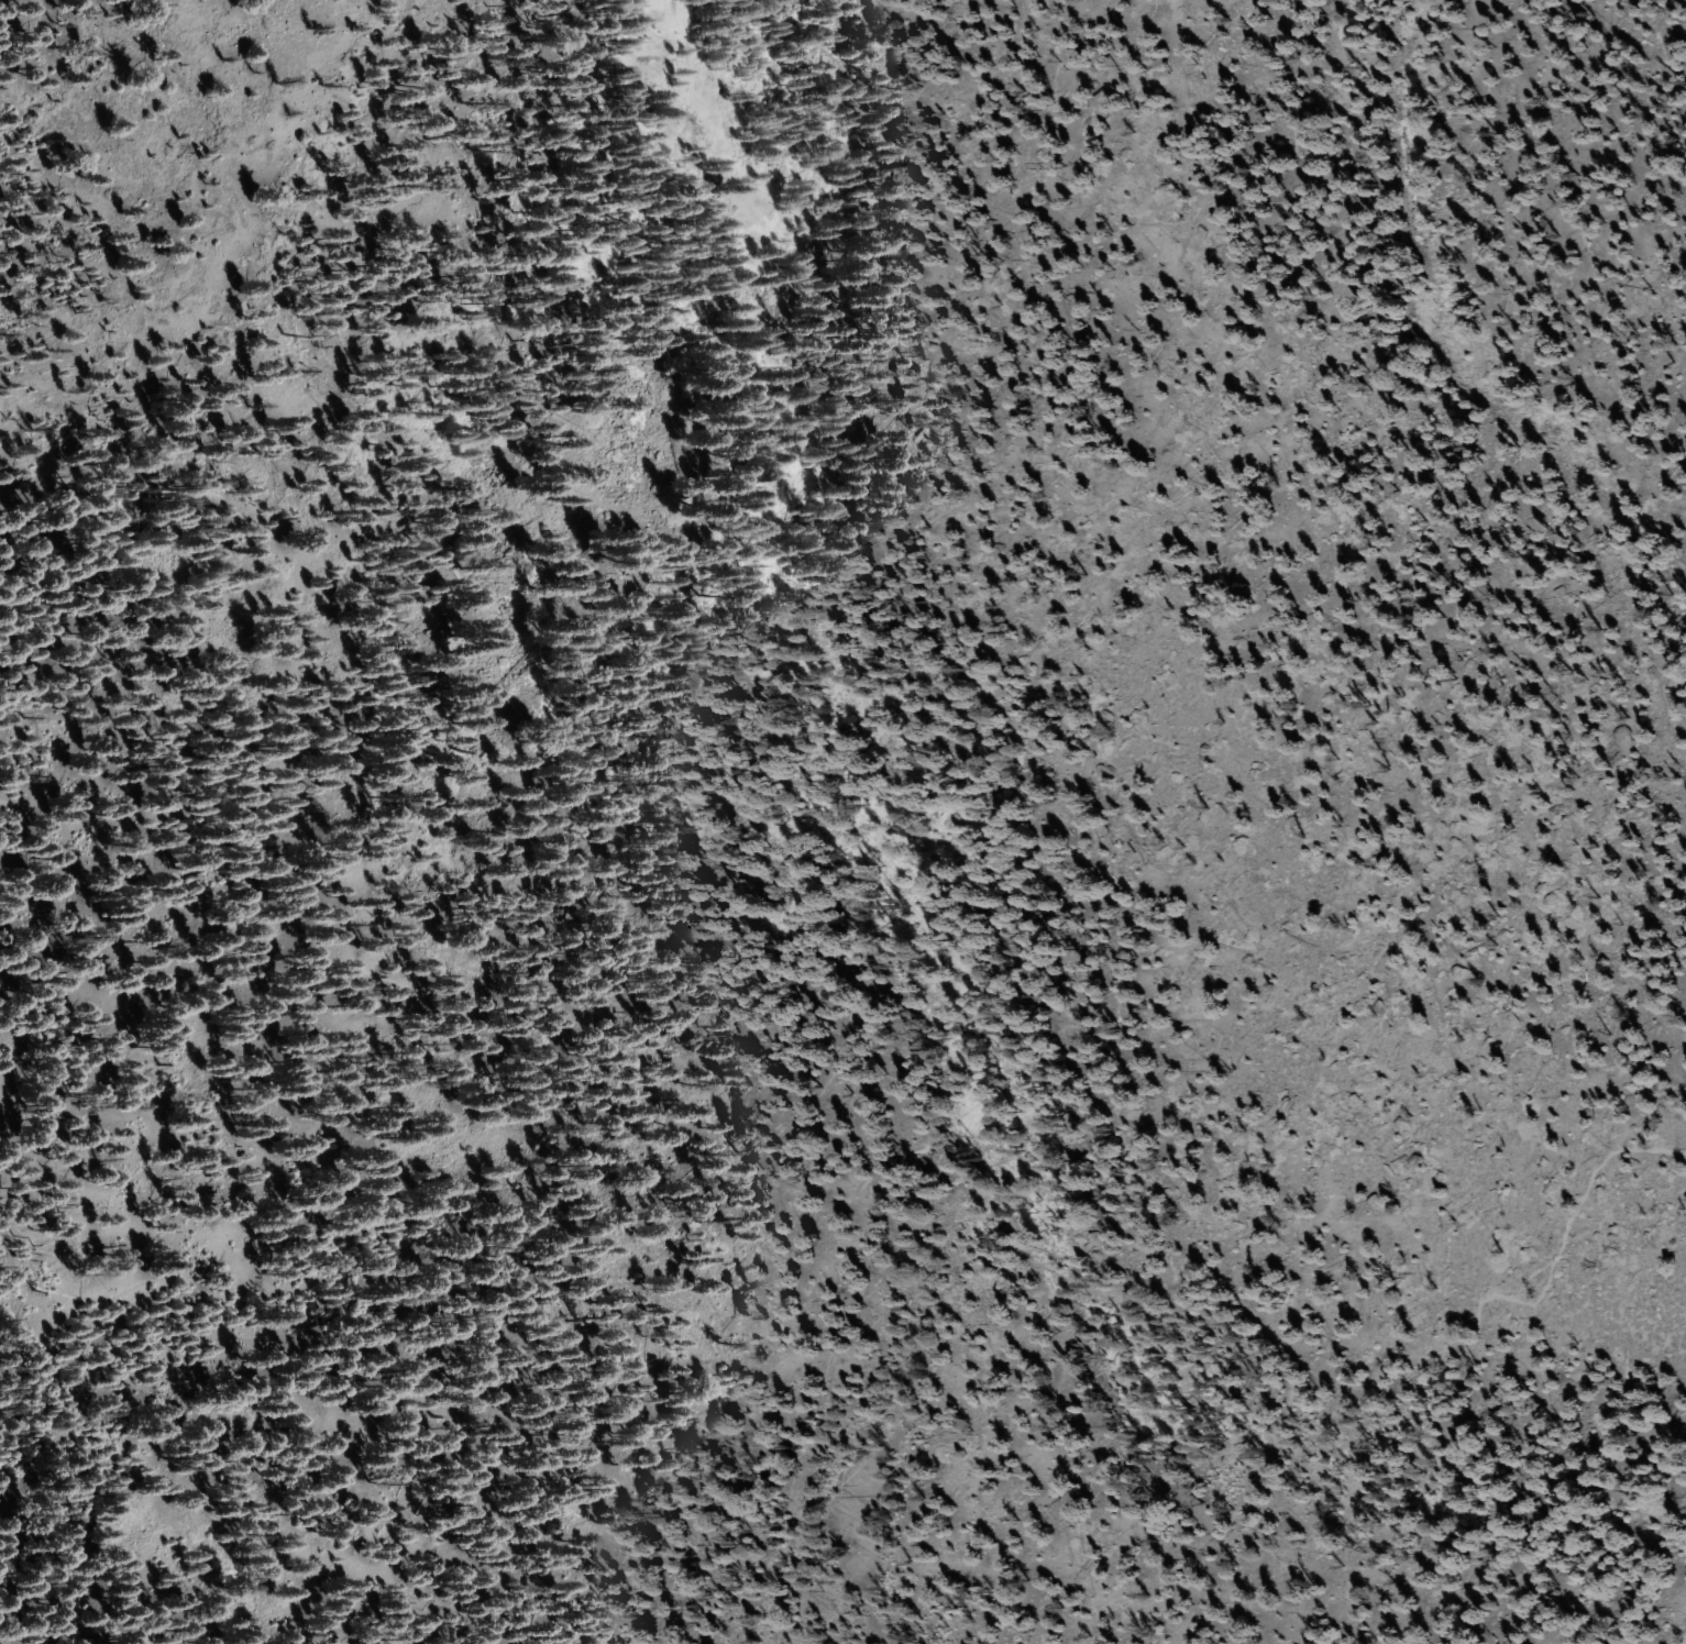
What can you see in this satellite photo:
road: (904, 1092)

